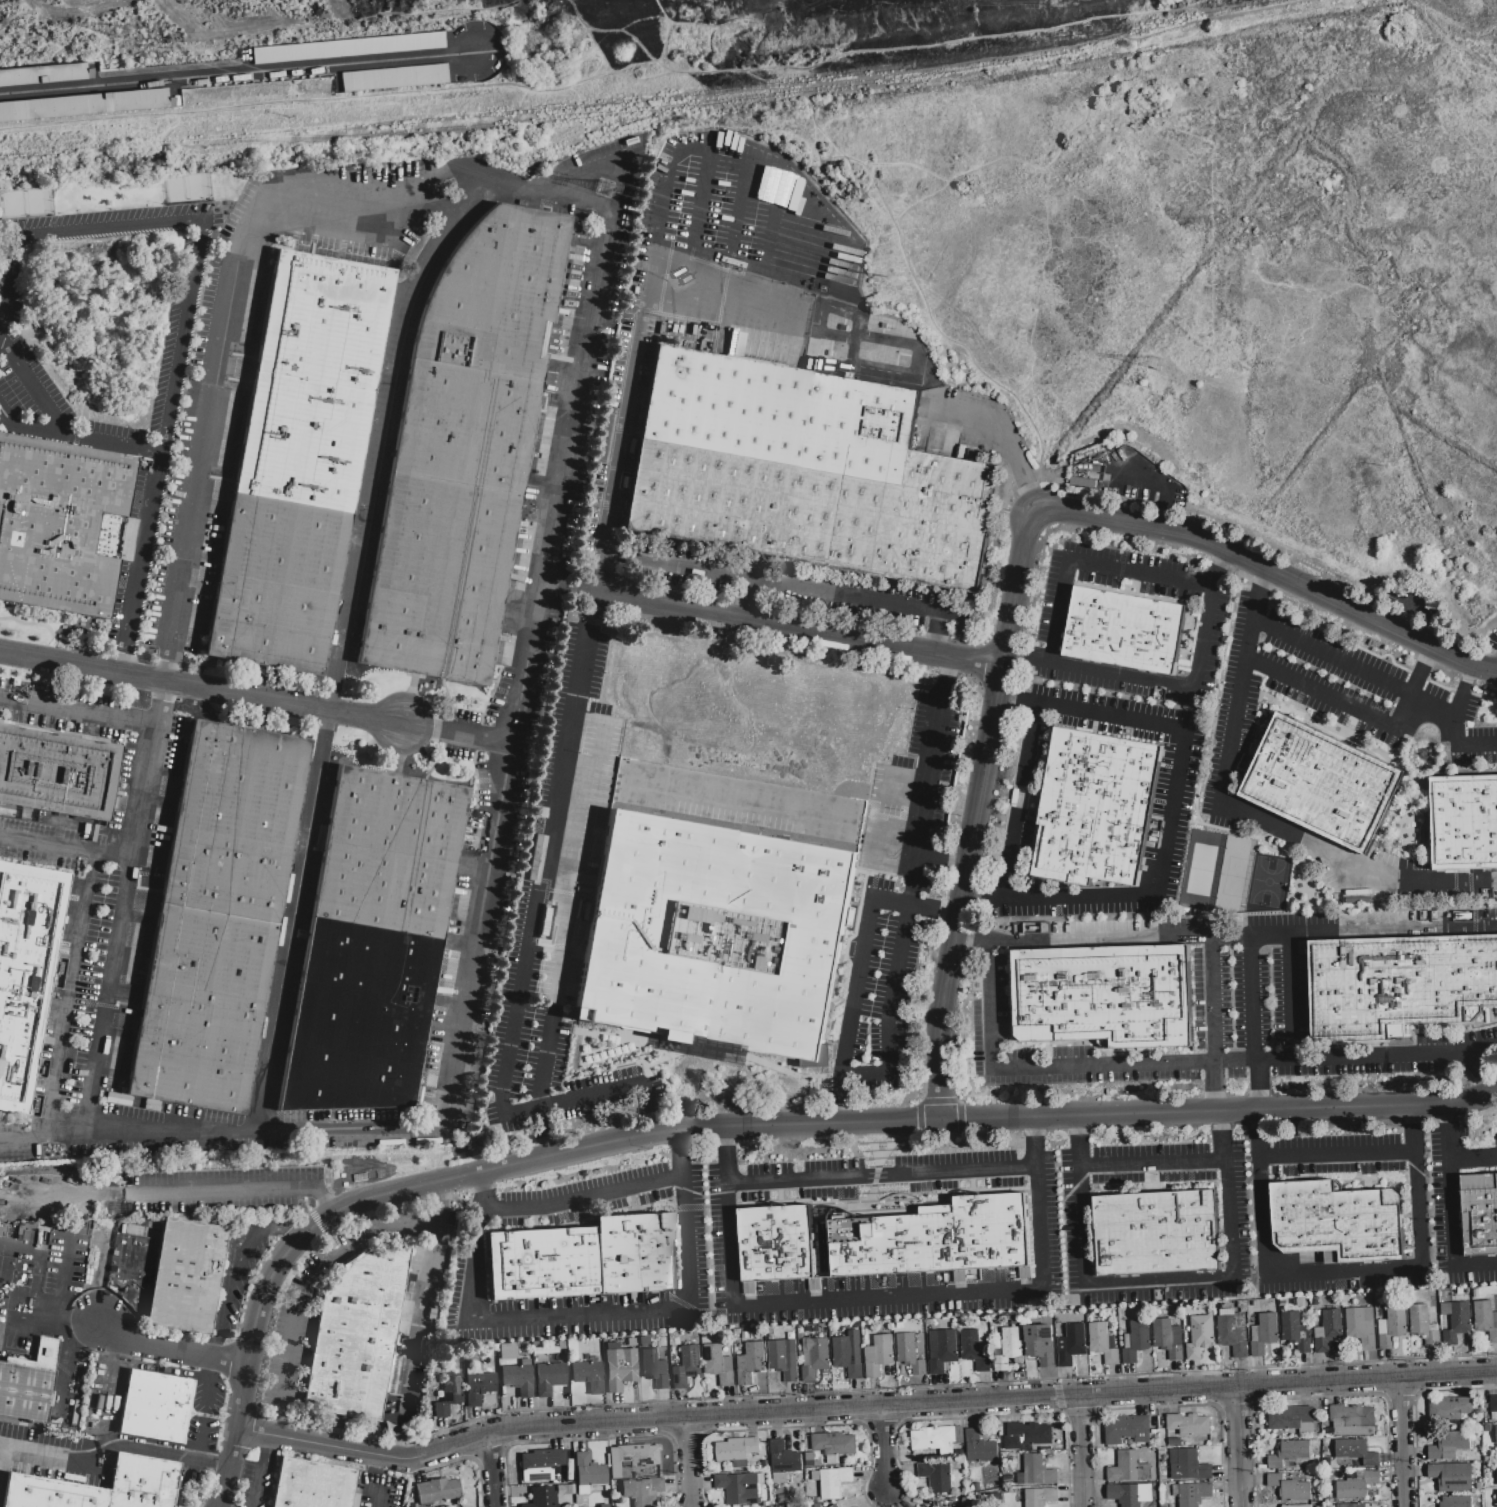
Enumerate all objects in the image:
power tower: (111, 29)
building: (346, 47)
building: (44, 73)
road: (238, 75)
building: (391, 76)
railway: (644, 99)
railway: (711, 101)
building: (84, 103)
railway: (628, 122)
road: (701, 149)
road: (600, 167)
road: (449, 175)
power tower: (605, 189)
street lamp: (160, 203)
street lamp: (109, 209)
road: (436, 209)
street lamp: (57, 213)
road: (183, 221)
road: (734, 229)
road: (769, 237)
road: (242, 239)
building: (509, 254)
road: (599, 293)
park: (100, 319)
building: (324, 321)
building: (483, 332)
parking lot: (97, 337)
power tower: (1157, 366)
road: (633, 377)
street lamp: (154, 378)
parking lot: (567, 379)
road: (32, 388)
building: (472, 388)
parking lot: (782, 412)
parking lot: (212, 418)
building: (465, 426)
road: (27, 430)
building: (302, 443)
road: (112, 445)
parking lot: (382, 451)
building: (725, 452)
road: (375, 466)
building: (459, 466)
parking lot: (1135, 478)
building: (893, 494)
road: (1033, 499)
building: (58, 524)
building: (286, 532)
road: (1202, 543)
road: (141, 556)
road: (1223, 562)
road: (1089, 566)
road: (601, 570)
building: (439, 580)
road: (1264, 581)
building: (277, 585)
road: (569, 591)
road: (1257, 595)
parking lot: (1126, 625)
road: (799, 629)
building: (1124, 631)
building: (267, 638)
road: (1339, 638)
road: (58, 640)
parking lot: (1490, 644)
road: (940, 648)
road: (1013, 659)
road: (1429, 659)
road: (528, 665)
road: (120, 667)
road: (1356, 670)
road: (165, 673)
road: (1417, 675)
road: (1472, 677)
street lamp: (79, 680)
street lamp: (1479, 684)
road: (1169, 685)
road: (1439, 686)
street lamp: (283, 687)
road: (201, 690)
parking lot: (499, 690)
road: (1462, 691)
road: (1239, 697)
road: (1483, 697)
road: (408, 700)
road: (1006, 701)
road: (332, 703)
road: (66, 705)
parking lot: (61, 708)
road: (1353, 710)
street lamp: (432, 711)
road: (77, 714)
road: (328, 723)
road: (478, 730)
road: (458, 733)
parking lot: (460, 733)
road: (1459, 734)
road: (399, 748)
building: (58, 751)
parking lot: (1352, 765)
road: (148, 771)
road: (931, 782)
building: (1321, 784)
building: (55, 790)
road: (979, 802)
road: (1020, 805)
parking lot: (1099, 807)
building: (1095, 809)
road: (1172, 818)
building: (234, 821)
road: (1192, 822)
building: (1464, 822)
road: (1243, 834)
parking lot: (38, 843)
building: (391, 851)
road: (1354, 866)
park: (1202, 870)
park: (1233, 875)
park: (1267, 883)
road: (971, 899)
road: (935, 906)
building: (719, 909)
parking lot: (716, 925)
building: (215, 929)
road: (534, 931)
road: (1353, 934)
parking lot: (103, 937)
road: (1099, 941)
road: (972, 942)
building: (209, 962)
building: (371, 965)
road: (114, 971)
building: (1488, 971)
building: (25, 972)
building: (1441, 980)
building: (1356, 990)
road: (70, 994)
building: (1104, 994)
building: (203, 997)
road: (1289, 999)
parking lot: (1235, 1000)
road: (1212, 1002)
road: (1252, 1002)
road: (557, 1004)
road: (278, 1018)
road: (940, 1031)
road: (469, 1032)
building: (196, 1036)
building: (351, 1056)
road: (603, 1063)
road: (1180, 1067)
road: (877, 1076)
road: (1473, 1077)
building: (188, 1081)
road: (544, 1083)
road: (1260, 1089)
road: (1214, 1091)
road: (841, 1103)
road: (1357, 1110)
road: (647, 1111)
road: (1449, 1114)
road: (1415, 1115)
road: (1078, 1119)
road: (1261, 1121)
road: (1224, 1124)
road: (1079, 1128)
road: (1036, 1130)
road: (541, 1135)
road: (722, 1140)
road: (684, 1141)
road: (1450, 1142)
road: (1037, 1154)
road: (1339, 1156)
road: (1474, 1161)
road: (1153, 1166)
road: (472, 1174)
road: (481, 1182)
parking lot: (220, 1189)
road: (221, 1190)
road: (70, 1198)
road: (321, 1199)
road: (436, 1199)
road: (480, 1202)
building: (1478, 1216)
building: (1284, 1217)
building: (1320, 1222)
road: (282, 1226)
building: (1374, 1226)
parking lot: (978, 1228)
road: (728, 1229)
road: (689, 1230)
road: (1040, 1230)
building: (992, 1231)
building: (1157, 1233)
road: (1453, 1237)
building: (938, 1238)
building: (794, 1243)
building: (829, 1244)
building: (904, 1244)
building: (758, 1245)
road: (352, 1246)
building: (866, 1246)
building: (635, 1253)
parking lot: (65, 1257)
building: (541, 1263)
building: (1023, 1271)
road: (475, 1273)
road: (232, 1275)
building: (185, 1276)
road: (1343, 1276)
road: (1159, 1282)
building: (1486, 1319)
building: (1458, 1323)
building: (1392, 1325)
building: (1423, 1325)
building: (1361, 1327)
road: (418, 1328)
building: (1328, 1331)
building: (1294, 1333)
building: (1263, 1334)
building: (1232, 1335)
building: (360, 1336)
building: (1168, 1338)
building: (1199, 1338)
building: (643, 1340)
building: (631, 1341)
building: (1135, 1341)
building: (1103, 1343)
building: (1039, 1344)
road: (215, 1345)
building: (1073, 1345)
building: (1007, 1348)
road: (171, 1350)
building: (942, 1350)
building: (974, 1350)
building: (911, 1353)
parking lot: (289, 1355)
building: (878, 1355)
building: (814, 1358)
building: (845, 1358)
building: (784, 1359)
building: (750, 1363)
building: (718, 1364)
building: (619, 1367)
building: (687, 1367)
road: (285, 1368)
building: (654, 1368)
building: (588, 1375)
building: (549, 1377)
building: (517, 1379)
road: (978, 1382)
building: (28, 1384)
building: (157, 1387)
building: (477, 1387)
building: (447, 1393)
road: (1090, 1394)
road: (1400, 1395)
road: (1057, 1396)
parking lot: (206, 1397)
road: (1323, 1397)
road: (1236, 1404)
road: (1159, 1406)
building: (1493, 1408)
building: (1449, 1409)
road: (1414, 1410)
road: (1079, 1415)
road: (981, 1416)
building: (1292, 1418)
building: (151, 1419)
building: (1351, 1420)
building: (1189, 1424)
road: (881, 1425)
road: (789, 1427)
road: (274, 1428)
building: (1127, 1429)
parking lot: (201, 1430)
building: (1496, 1434)
building: (1025, 1435)
road: (684, 1436)
road: (591, 1438)
building: (921, 1439)
road: (458, 1442)
road: (1402, 1443)
road: (114, 1445)
building: (834, 1445)
building: (979, 1446)
building: (1449, 1446)
road: (1238, 1447)
road: (884, 1448)
road: (1079, 1450)
building: (737, 1451)
building: (1356, 1451)
road: (399, 1452)
road: (487, 1452)
road: (1, 1453)
building: (1289, 1453)
parking lot: (52, 1455)
building: (631, 1459)
building: (783, 1461)
road: (687, 1462)
building: (539, 1464)
parking lot: (191, 1466)
building: (1189, 1467)
building: (1129, 1468)
building: (588, 1469)
building: (145, 1470)
road: (493, 1470)
building: (1035, 1470)
road: (258, 1471)
road: (478, 1472)
building: (1496, 1473)
building: (937, 1477)
building: (1452, 1477)
road: (179, 1481)
building: (832, 1481)
parking lot: (254, 1483)
building: (311, 1485)
building: (1356, 1485)
building: (738, 1488)
building: (436, 1489)
building: (1290, 1489)
parking lot: (381, 1490)
building: (643, 1491)
building: (50, 1493)
building: (1193, 1493)
building: (1130, 1494)
building: (138, 1495)
building: (542, 1497)
building: (1040, 1497)
building: (1456, 1502)
building: (968, 1503)
building: (1351, 1505)
building: (835, 1506)
building: (1298, 1506)

